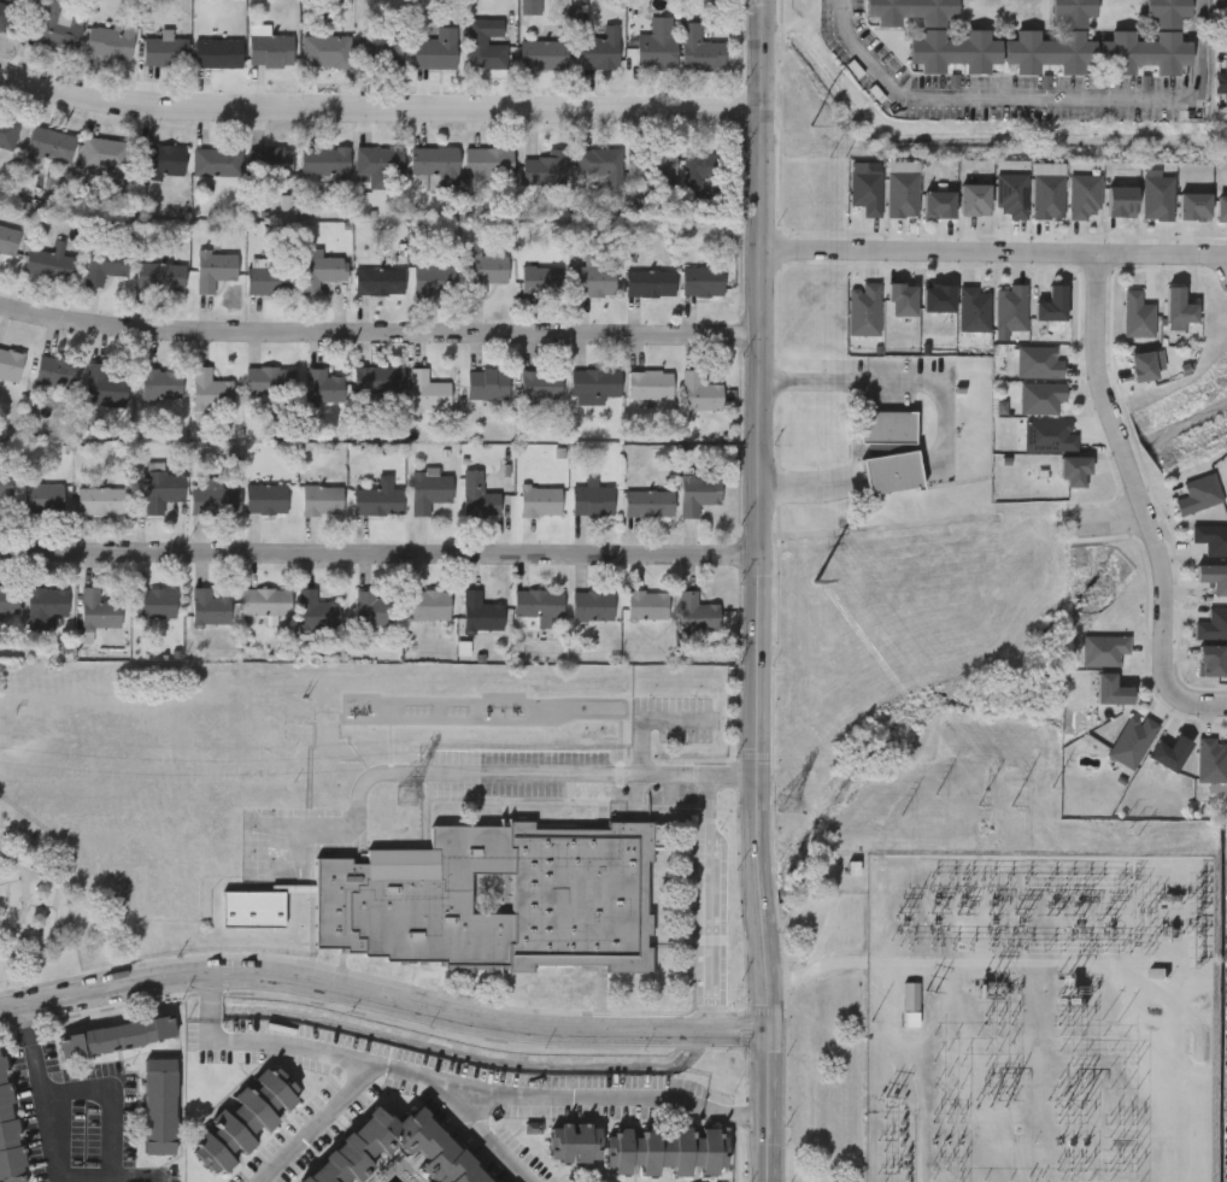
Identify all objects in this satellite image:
building: (530, 6)
building: (4, 13)
building: (59, 24)
building: (938, 35)
building: (111, 40)
building: (1053, 40)
building: (657, 41)
building: (1149, 41)
building: (483, 46)
building: (271, 47)
building: (601, 47)
building: (325, 48)
building: (436, 48)
building: (700, 48)
building: (165, 49)
building: (382, 49)
building: (218, 52)
building: (544, 53)
building: (1221, 82)
road: (1041, 98)
road: (378, 107)
building: (7, 131)
power tower: (810, 137)
building: (49, 143)
building: (104, 153)
building: (159, 159)
building: (270, 160)
building: (488, 160)
building: (216, 161)
building: (324, 161)
building: (435, 161)
building: (599, 161)
building: (652, 163)
building: (380, 165)
building: (545, 166)
building: (698, 174)
building: (863, 190)
building: (899, 193)
building: (1009, 194)
building: (1045, 195)
building: (1082, 195)
building: (1156, 196)
building: (973, 198)
building: (1120, 200)
building: (937, 202)
building: (1192, 205)
building: (1221, 207)
building: (8, 239)
road: (992, 253)
building: (105, 261)
building: (49, 264)
building: (325, 267)
building: (215, 269)
building: (486, 271)
building: (159, 275)
building: (434, 278)
building: (541, 278)
building: (648, 278)
building: (271, 280)
building: (594, 280)
building: (701, 280)
building: (380, 281)
building: (937, 296)
building: (900, 298)
building: (1050, 304)
building: (1009, 306)
building: (971, 307)
building: (862, 308)
building: (1135, 314)
road: (378, 339)
building: (1035, 360)
building: (10, 363)
building: (1144, 365)
building: (57, 371)
building: (378, 378)
road: (890, 378)
building: (270, 380)
building: (595, 381)
building: (162, 382)
building: (487, 383)
building: (540, 383)
building: (650, 383)
building: (104, 384)
building: (324, 384)
building: (210, 390)
building: (427, 390)
building: (699, 392)
building: (1039, 396)
building: (887, 424)
building: (1047, 434)
road: (1125, 469)
building: (892, 471)
building: (1074, 471)
building: (5, 483)
building: (163, 489)
building: (429, 490)
building: (698, 492)
building: (1197, 493)
building: (477, 494)
building: (42, 498)
building: (216, 498)
building: (266, 498)
building: (378, 499)
building: (592, 499)
building: (102, 500)
building: (322, 500)
building: (540, 500)
building: (648, 501)
road: (1103, 522)
building: (1210, 537)
road: (378, 558)
building: (1213, 577)
power tower: (815, 582)
road: (757, 590)
building: (8, 599)
building: (265, 600)
building: (155, 602)
building: (647, 602)
building: (428, 604)
building: (538, 604)
building: (592, 604)
building: (46, 605)
building: (209, 606)
building: (101, 607)
building: (376, 607)
building: (316, 611)
building: (480, 612)
building: (695, 614)
building: (1211, 623)
building: (1103, 649)
building: (1209, 659)
road: (1190, 705)
building: (237, 740)
building: (1131, 740)
building: (270, 741)
building: (325, 742)
building: (1210, 759)
parking lot: (518, 771)
road: (587, 772)
power tower: (405, 795)
power tower: (787, 802)
park: (40, 818)
power tower: (1127, 830)
building: (222, 841)
building: (172, 843)
road: (49, 883)
road: (24, 884)
building: (122, 890)
building: (155, 890)
building: (188, 892)
road: (706, 901)
building: (391, 902)
road: (381, 999)
building: (910, 1006)
power substation: (1037, 1018)
building: (116, 1035)
road: (450, 1084)
road: (121, 1089)
building: (159, 1106)
building: (241, 1119)
road: (318, 1127)
building: (7, 1129)
road: (491, 1133)
building: (574, 1141)
road: (51, 1143)
building: (667, 1148)
building: (345, 1160)

